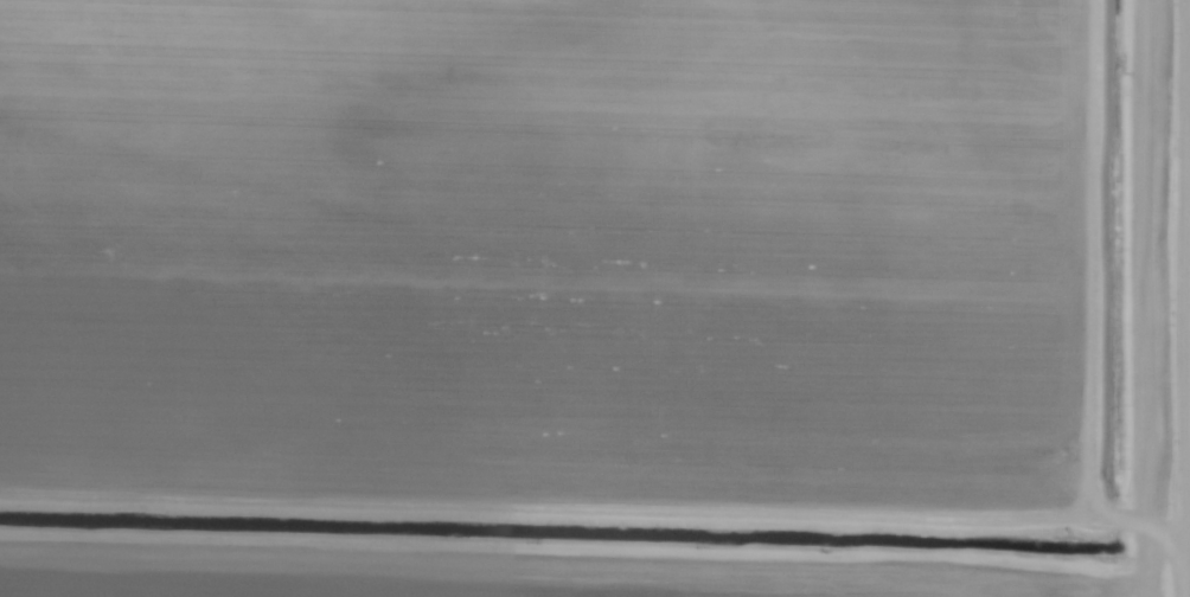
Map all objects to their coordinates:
crop: (536, 297)

